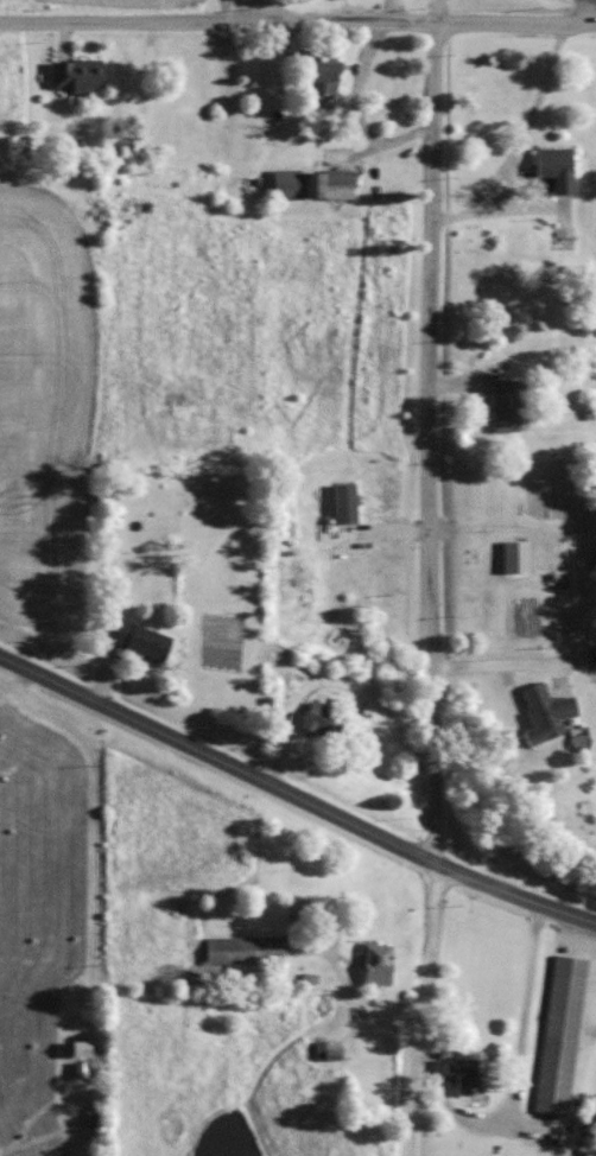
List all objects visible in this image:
road: (448, 20)
road: (150, 21)
building: (319, 71)
building: (74, 74)
road: (515, 134)
building: (552, 166)
building: (307, 183)
building: (501, 405)
road: (429, 439)
building: (341, 502)
building: (512, 555)
building: (134, 636)
road: (495, 661)
building: (541, 712)
building: (316, 719)
road: (294, 795)
building: (299, 909)
building: (243, 948)
building: (374, 963)
road: (417, 1009)
building: (559, 1034)
building: (78, 1047)
building: (325, 1049)

